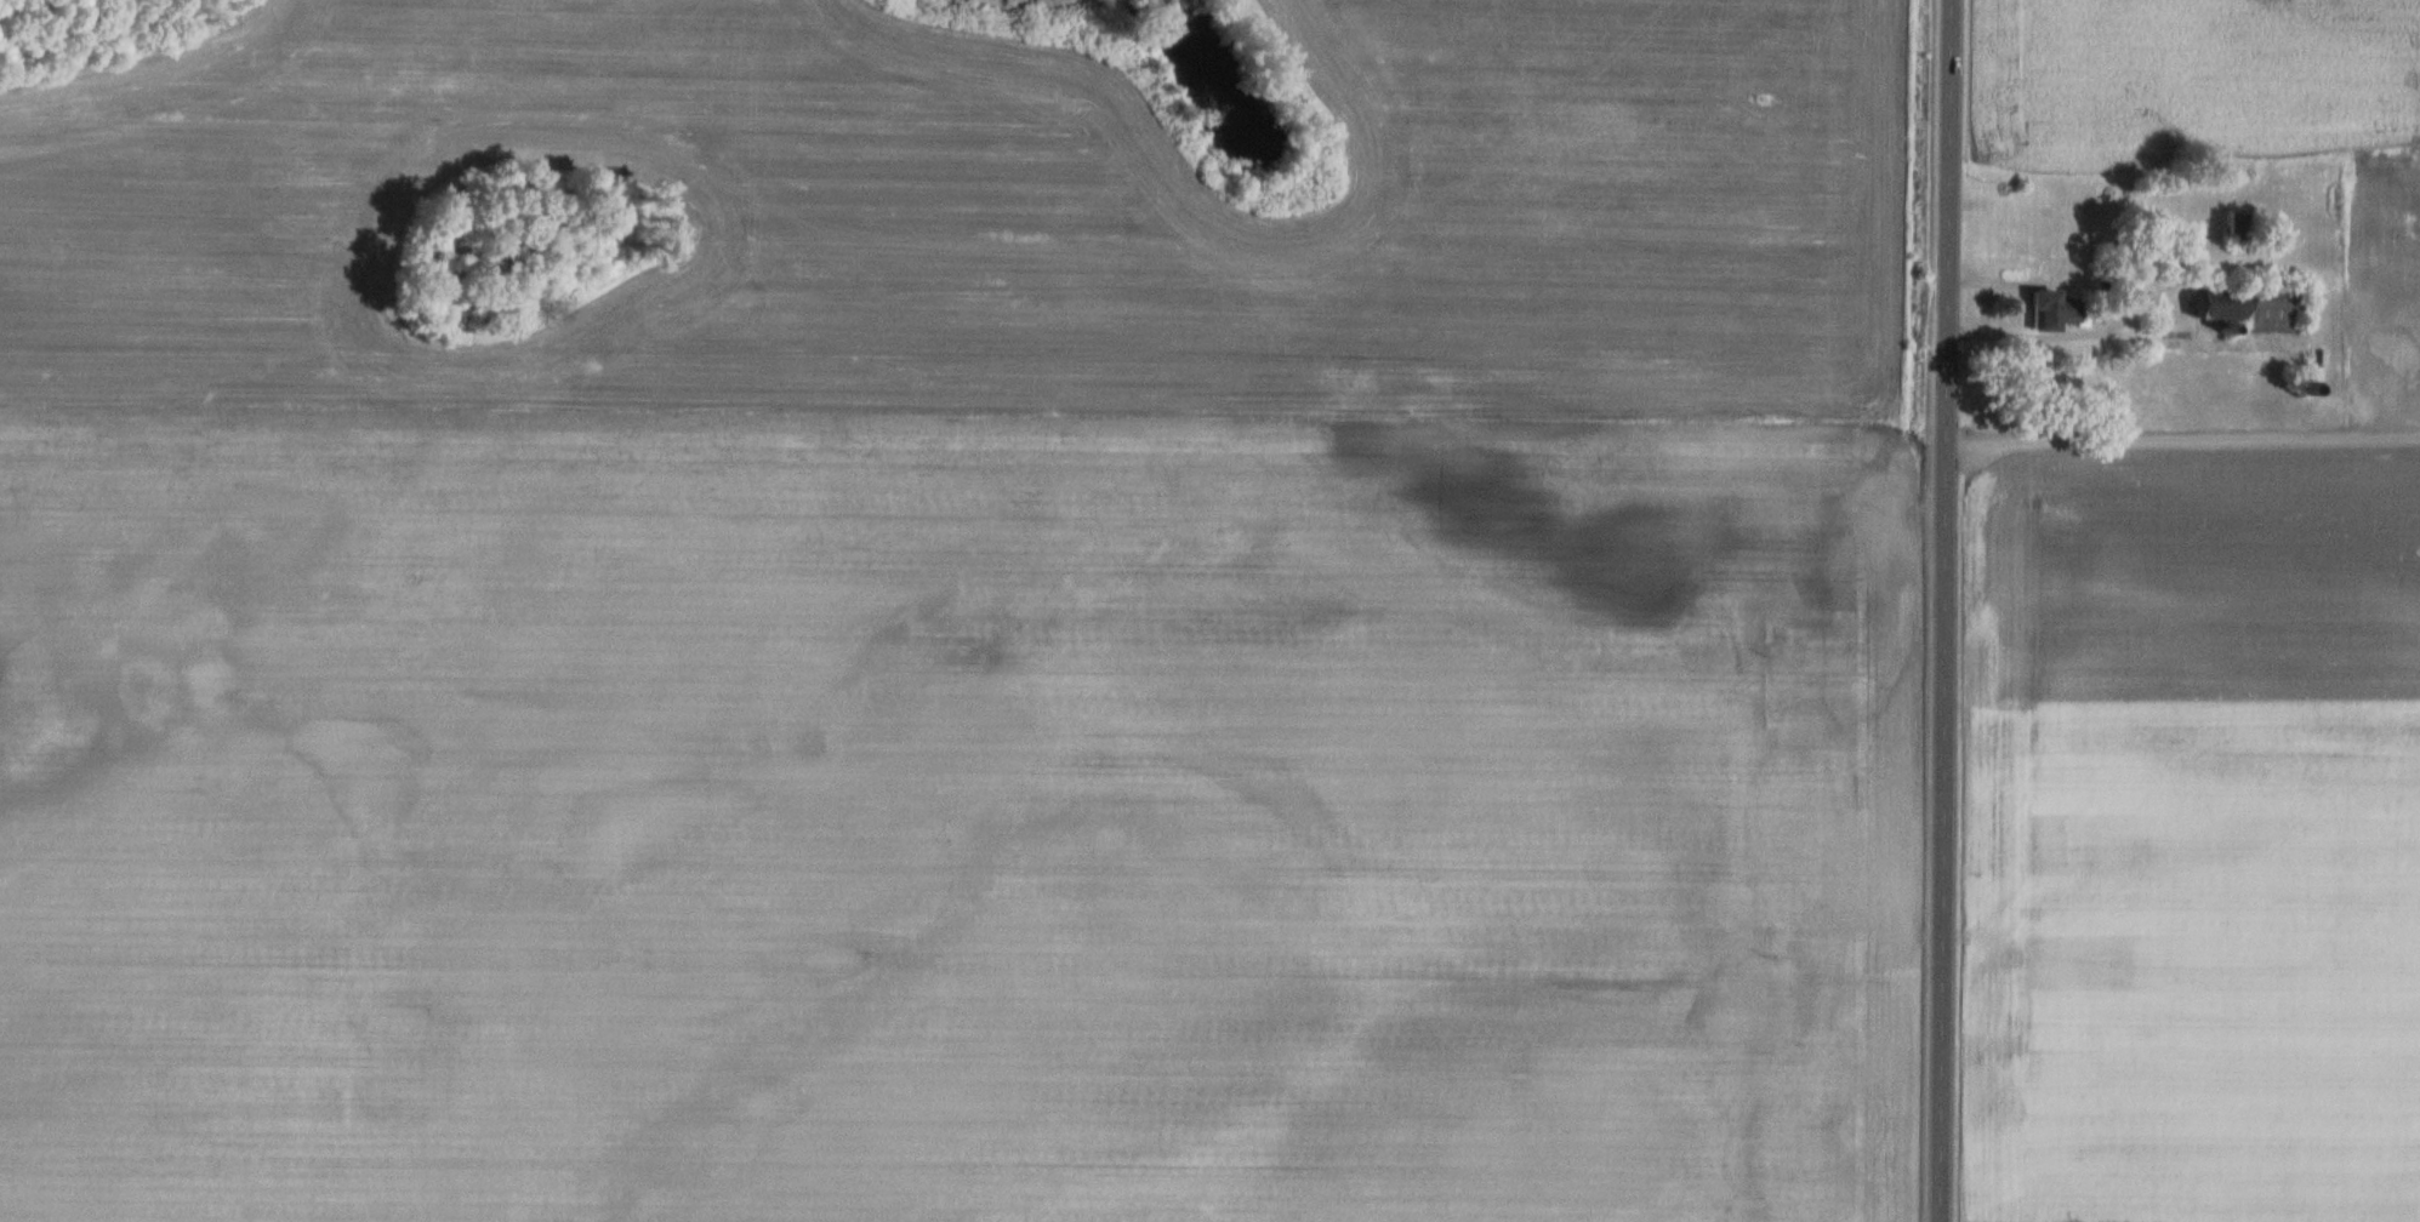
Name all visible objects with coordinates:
road: (2122, 302)
building: (2247, 304)
building: (2048, 308)
road: (1938, 610)

